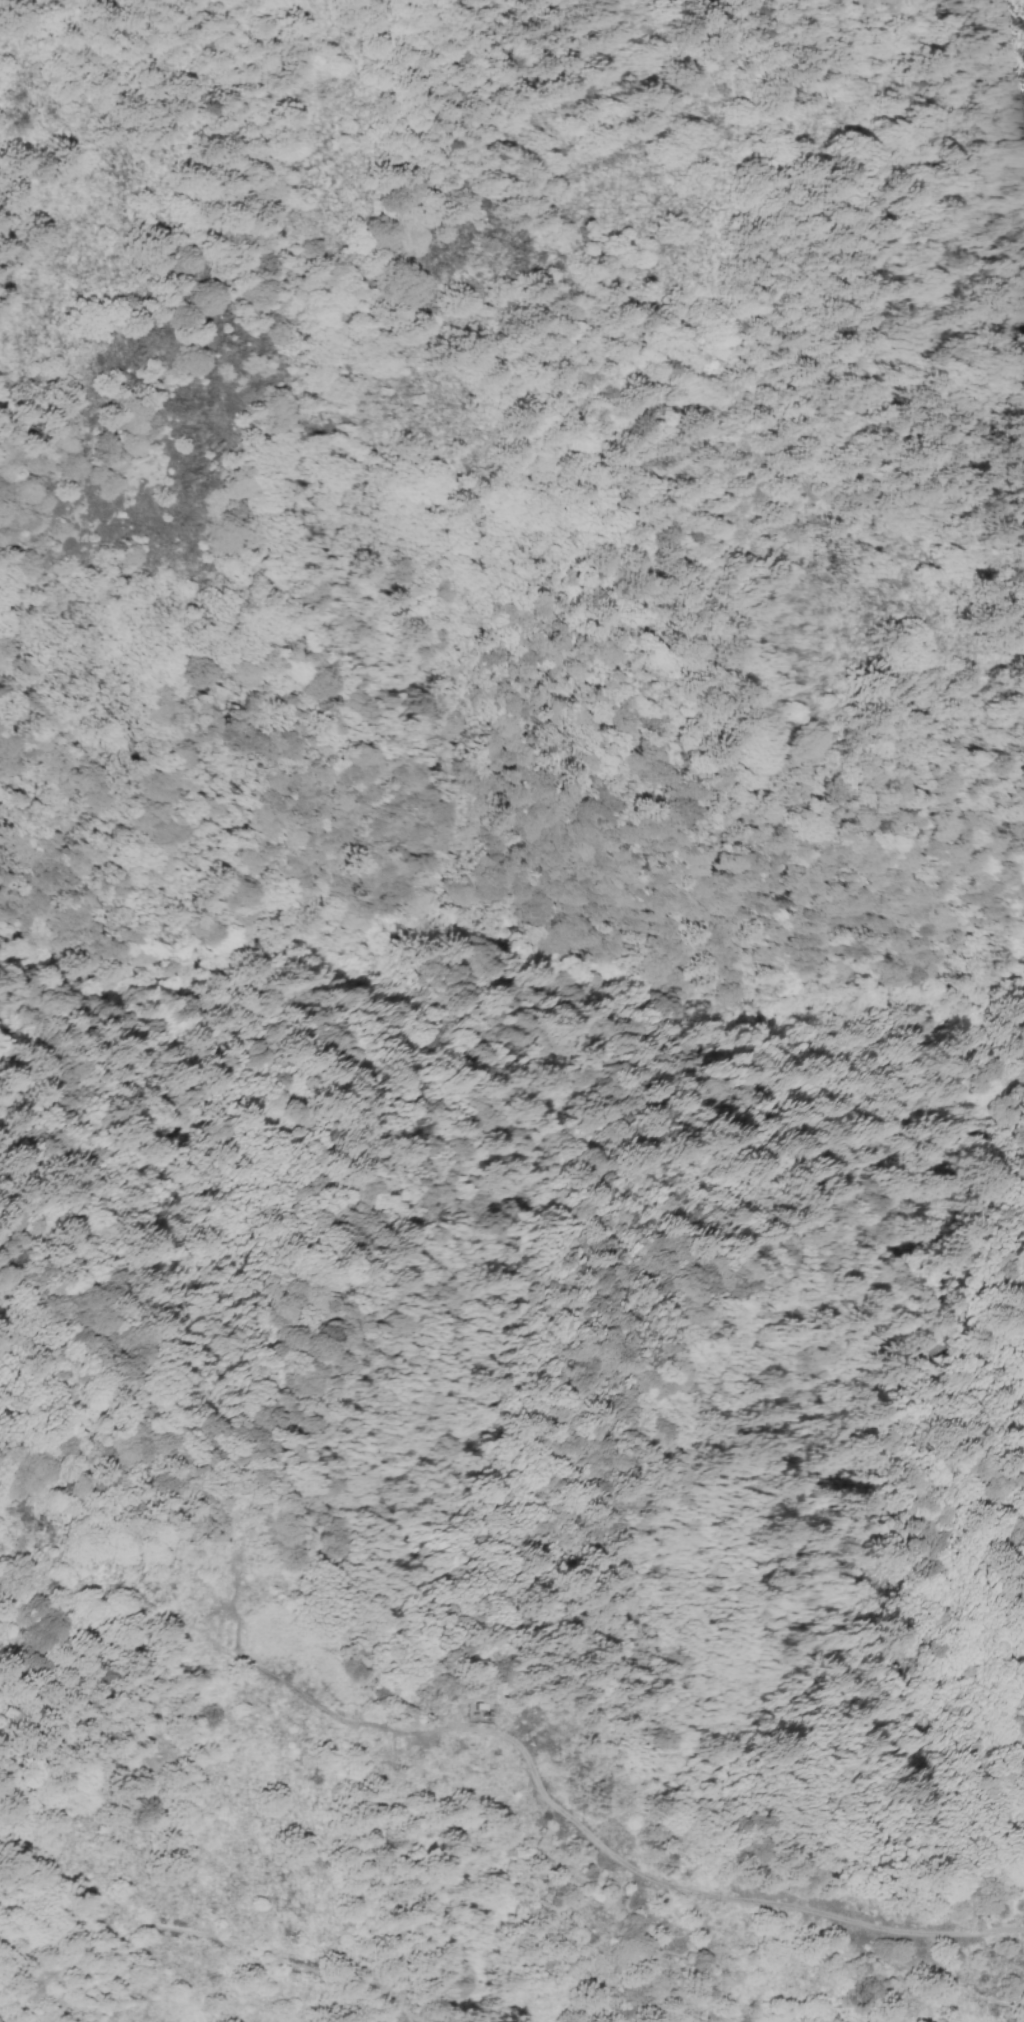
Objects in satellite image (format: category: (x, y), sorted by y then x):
road: (439, 1889)
crop: (1015, 1896)

